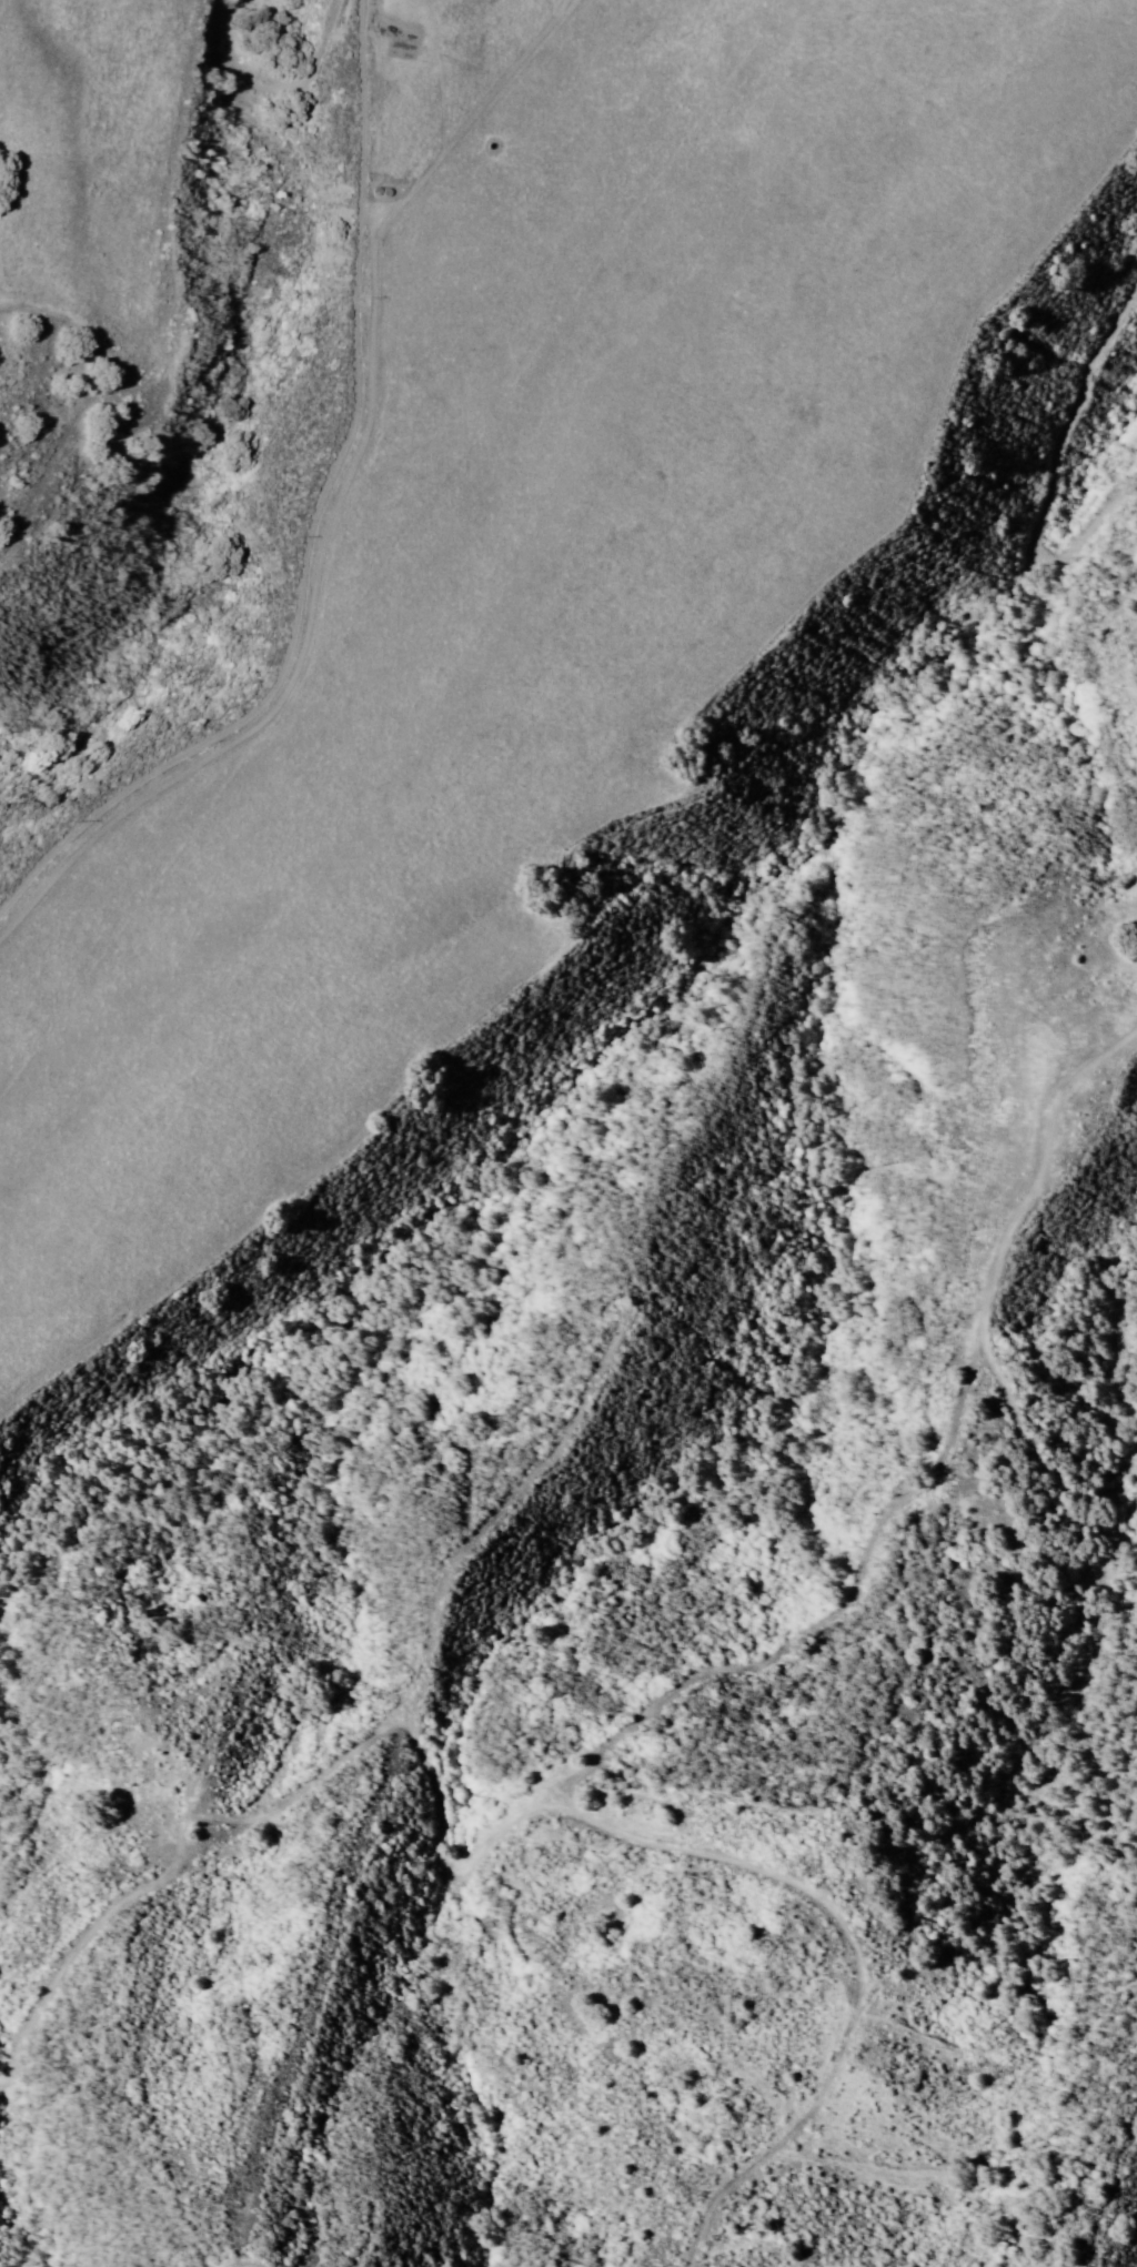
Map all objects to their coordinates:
road: (230, 3)
road: (610, 262)
road: (1048, 481)
road: (325, 528)
road: (1053, 1524)
road: (727, 1670)
road: (259, 2260)

